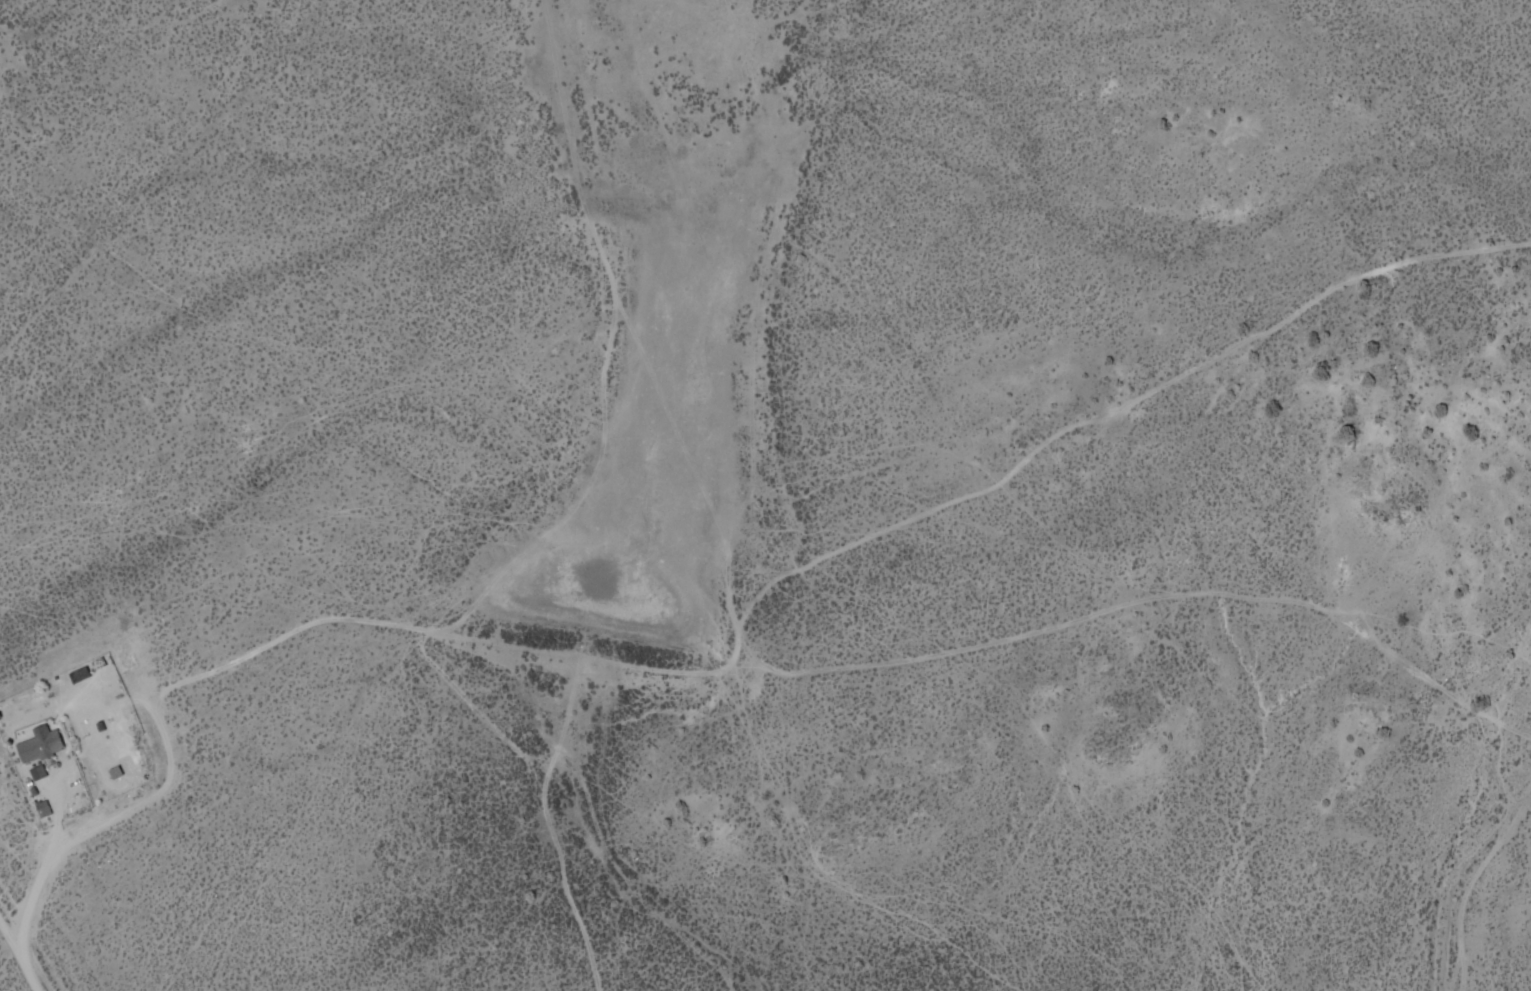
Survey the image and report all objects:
building: (79, 674)
building: (39, 745)
road: (1462, 830)
road: (23, 952)
road: (11, 984)

